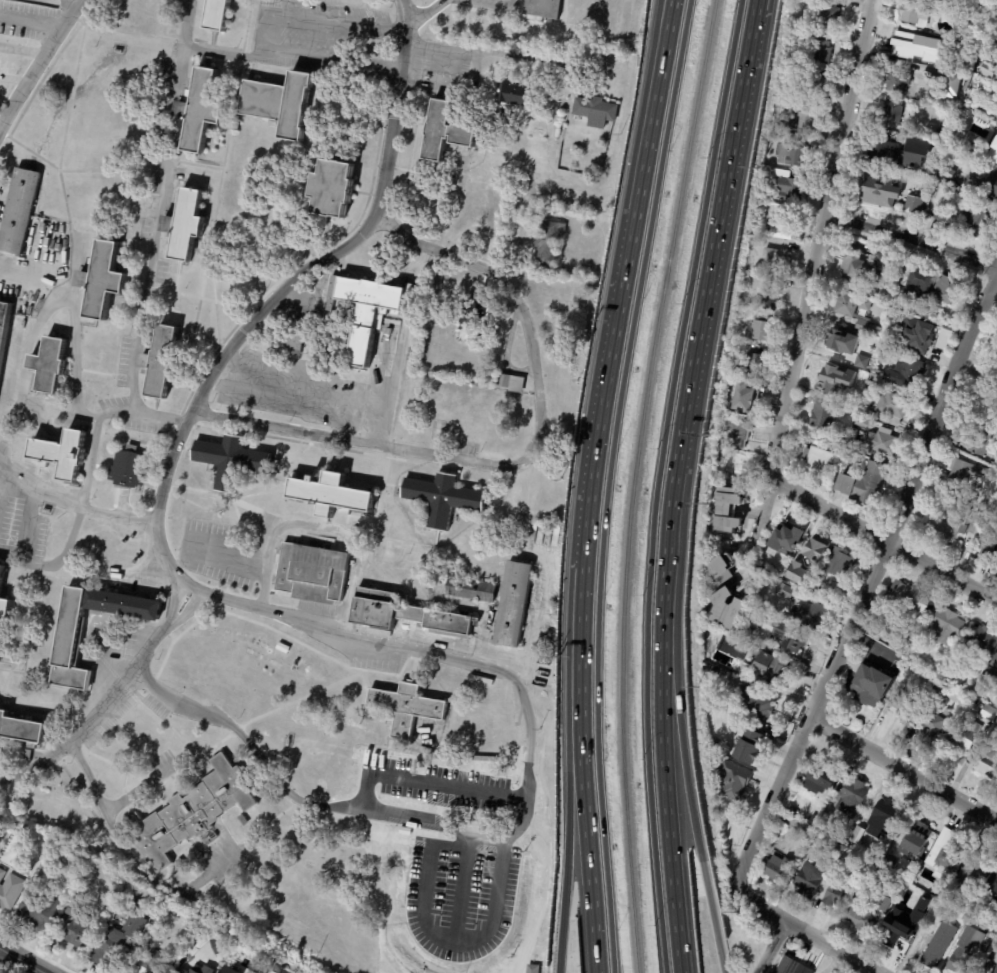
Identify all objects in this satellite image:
road: (415, 8)
building: (539, 10)
building: (908, 12)
building: (218, 15)
road: (277, 15)
building: (826, 16)
road: (31, 18)
building: (966, 20)
road: (663, 22)
road: (666, 22)
building: (838, 38)
building: (907, 46)
building: (822, 49)
road: (496, 55)
road: (327, 56)
road: (38, 63)
building: (967, 69)
building: (987, 69)
building: (814, 80)
building: (896, 81)
building: (949, 85)
building: (783, 92)
building: (514, 95)
building: (280, 102)
building: (781, 104)
building: (202, 108)
building: (596, 110)
building: (890, 112)
building: (807, 123)
building: (236, 124)
road: (647, 126)
building: (446, 130)
building: (940, 132)
building: (993, 132)
building: (571, 135)
building: (775, 136)
building: (899, 153)
building: (792, 154)
building: (994, 155)
building: (984, 182)
building: (786, 186)
building: (334, 187)
building: (878, 190)
road: (157, 205)
building: (912, 205)
building: (19, 211)
building: (940, 215)
building: (977, 219)
building: (186, 224)
building: (780, 227)
road: (718, 236)
road: (817, 238)
building: (550, 242)
building: (757, 242)
road: (910, 243)
building: (775, 259)
building: (886, 267)
building: (854, 268)
building: (103, 279)
building: (917, 286)
building: (945, 289)
road: (280, 290)
building: (770, 296)
building: (891, 298)
building: (849, 304)
building: (371, 310)
building: (893, 314)
building: (481, 318)
road: (70, 321)
building: (4, 327)
building: (759, 327)
building: (868, 329)
building: (923, 336)
building: (842, 340)
building: (290, 342)
building: (880, 350)
building: (161, 361)
building: (860, 361)
building: (754, 365)
building: (49, 366)
building: (909, 374)
building: (830, 378)
building: (514, 383)
building: (874, 395)
building: (744, 399)
building: (890, 407)
road: (138, 411)
building: (864, 413)
building: (824, 414)
building: (861, 424)
building: (736, 434)
building: (979, 441)
building: (874, 443)
building: (20, 445)
road: (592, 450)
building: (62, 453)
building: (818, 458)
building: (233, 460)
road: (519, 460)
building: (732, 463)
building: (992, 463)
building: (131, 469)
building: (966, 472)
road: (607, 483)
railway: (632, 483)
road: (657, 483)
road: (6, 485)
building: (862, 485)
building: (332, 494)
building: (444, 498)
road: (72, 507)
building: (726, 512)
road: (18, 520)
road: (761, 522)
building: (947, 525)
building: (976, 525)
road: (319, 528)
road: (883, 538)
building: (787, 540)
road: (669, 542)
building: (984, 551)
building: (812, 553)
building: (838, 564)
building: (994, 566)
building: (721, 569)
building: (315, 572)
building: (779, 573)
building: (797, 573)
building: (765, 579)
building: (786, 581)
building: (2, 582)
road: (870, 582)
building: (471, 590)
building: (785, 593)
building: (816, 594)
building: (910, 598)
building: (514, 605)
road: (173, 607)
building: (727, 609)
road: (181, 611)
building: (405, 613)
building: (762, 616)
building: (810, 617)
building: (944, 627)
building: (884, 638)
building: (788, 640)
building: (979, 643)
building: (70, 644)
building: (894, 644)
building: (905, 650)
road: (424, 652)
building: (862, 659)
building: (771, 670)
building: (990, 671)
building: (940, 687)
building: (867, 688)
building: (907, 702)
building: (752, 705)
building: (407, 708)
building: (987, 714)
road: (90, 717)
building: (389, 717)
building: (932, 720)
building: (995, 727)
building: (22, 731)
building: (962, 737)
building: (289, 743)
building: (748, 746)
building: (30, 755)
building: (986, 763)
road: (903, 769)
road: (427, 777)
building: (733, 779)
building: (818, 780)
road: (135, 788)
road: (666, 792)
road: (689, 793)
park: (60, 795)
building: (853, 798)
road: (303, 800)
building: (191, 813)
building: (808, 817)
building: (884, 817)
building: (246, 820)
road: (566, 834)
road: (587, 834)
building: (857, 835)
building: (918, 838)
building: (836, 846)
building: (897, 846)
building: (944, 849)
road: (130, 865)
building: (48, 868)
building: (777, 868)
building: (970, 874)
building: (809, 875)
building: (995, 877)
building: (101, 878)
building: (995, 888)
building: (13, 892)
building: (933, 892)
building: (833, 896)
building: (881, 902)
building: (995, 902)
building: (964, 907)
building: (44, 911)
building: (857, 913)
building: (894, 921)
building: (990, 924)
building: (83, 927)
road: (804, 932)
building: (121, 941)
building: (222, 945)
building: (937, 945)
road: (770, 947)
building: (964, 948)
building: (993, 958)
road: (21, 961)
building: (154, 963)
building: (790, 965)
building: (203, 969)
building: (532, 969)
building: (228, 970)
building: (185, 972)
building: (268, 972)

